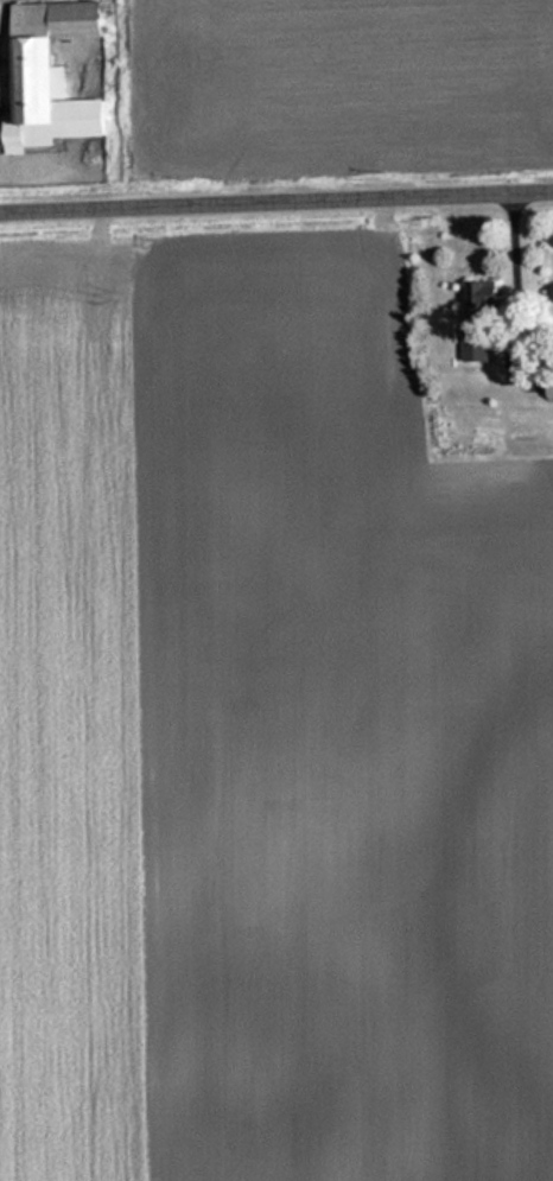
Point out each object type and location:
building: (57, 76)
road: (276, 202)
building: (487, 315)
building: (552, 387)
building: (482, 421)

